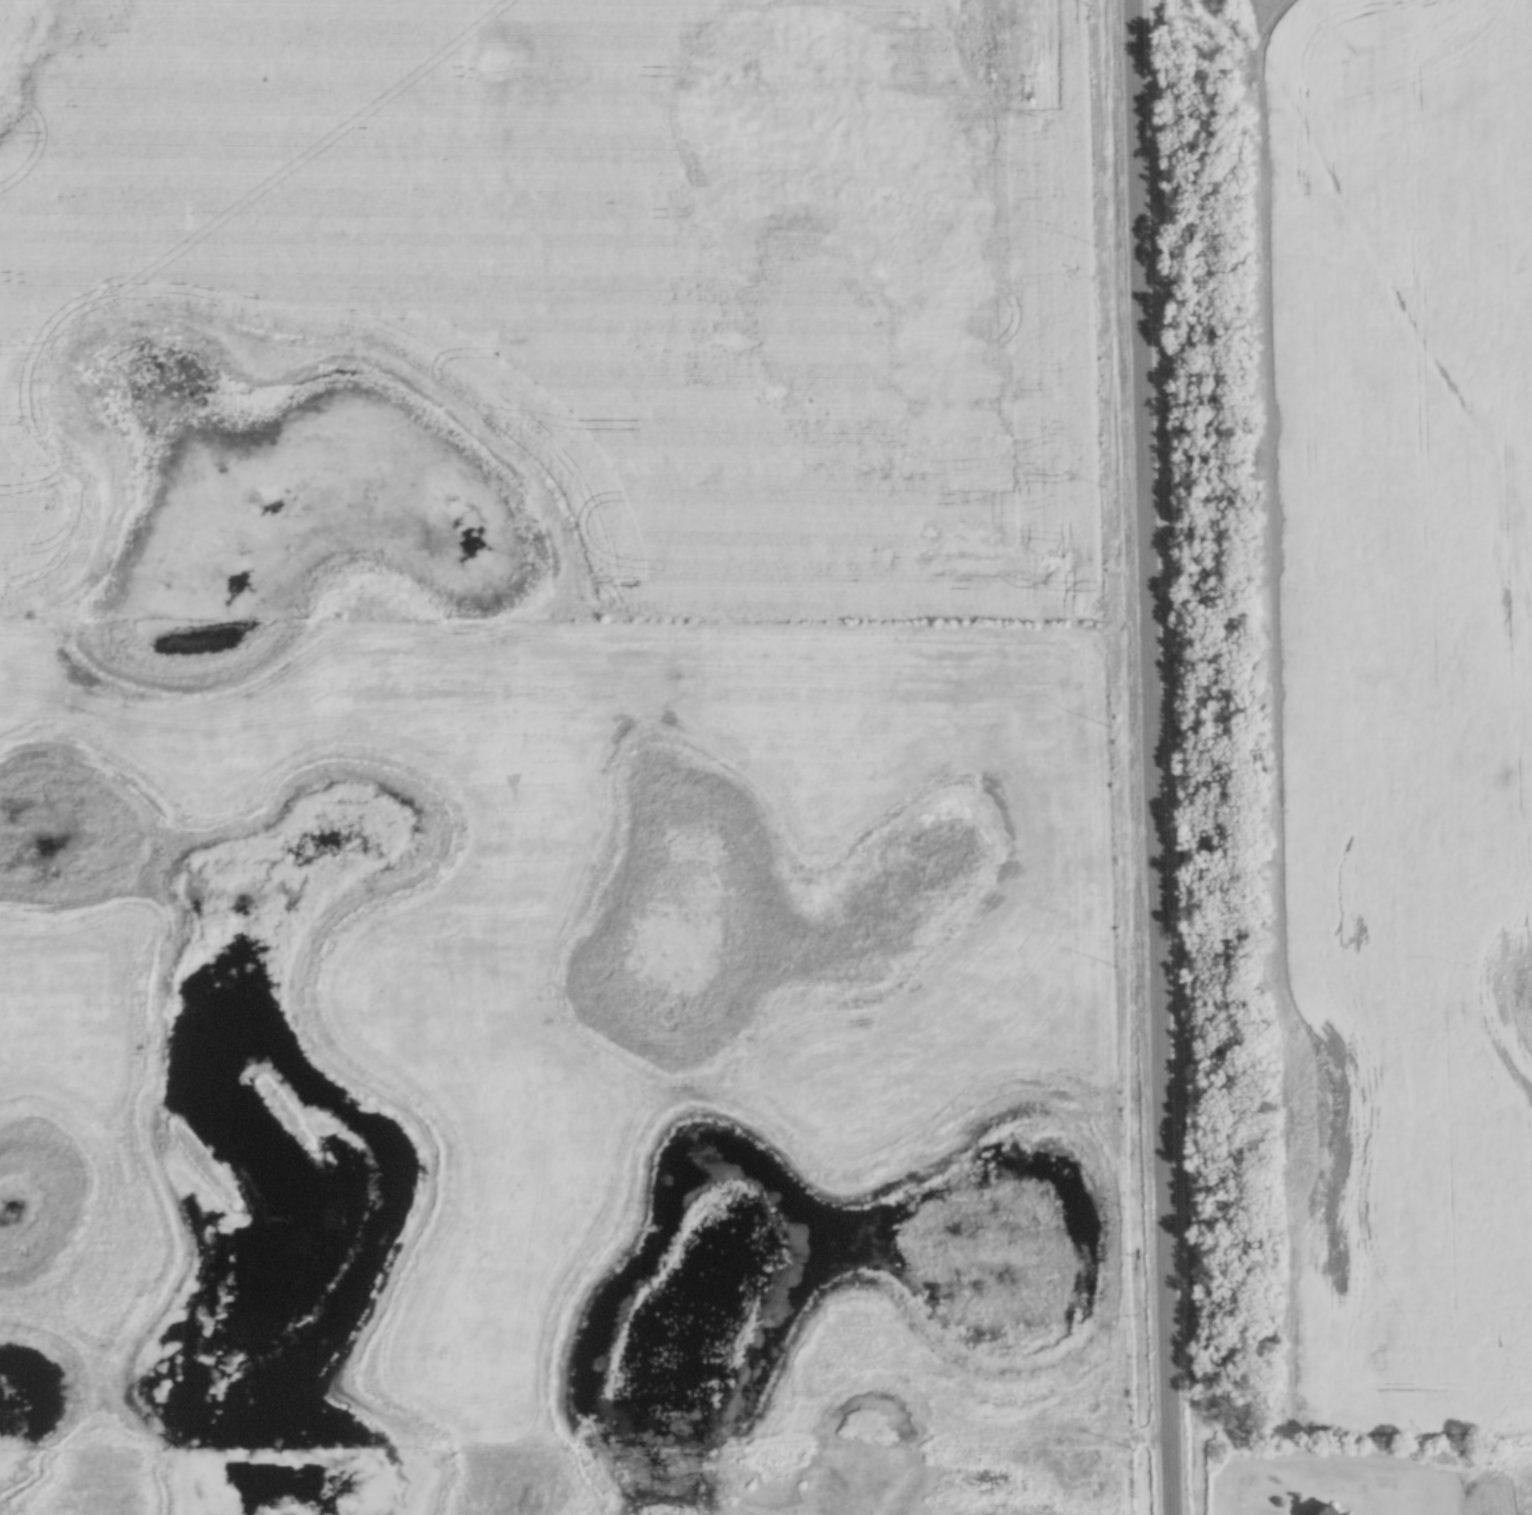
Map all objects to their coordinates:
road: (1153, 757)
building: (1322, 1509)

